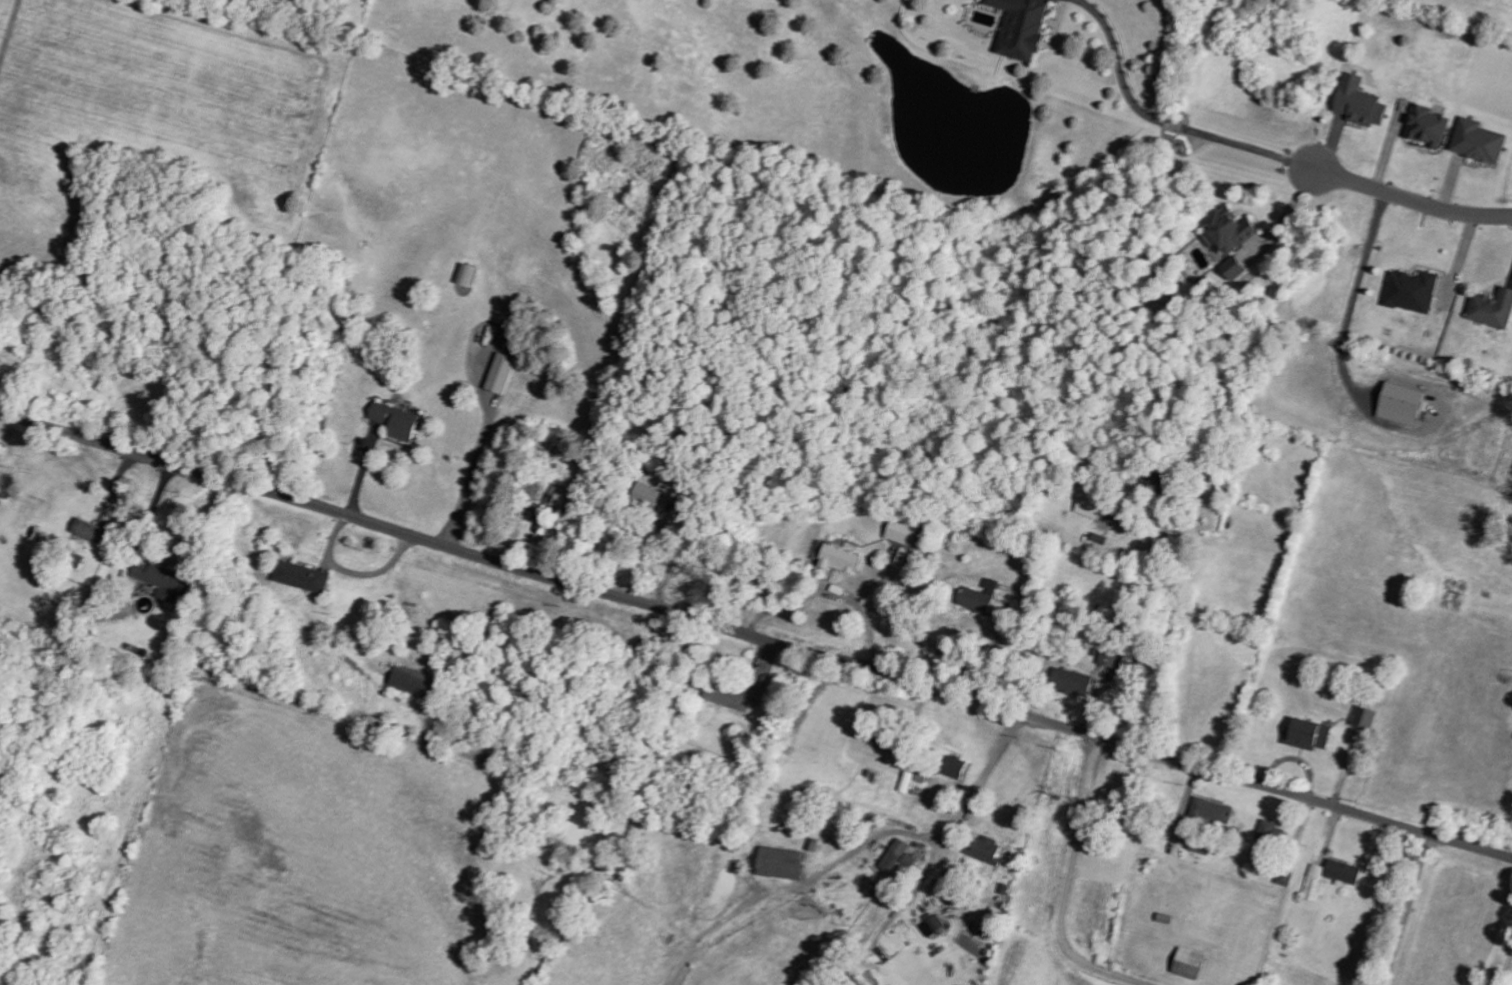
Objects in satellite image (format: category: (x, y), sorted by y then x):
building: (1020, 27)
building: (1358, 103)
road: (1169, 119)
building: (1426, 126)
building: (1477, 142)
road: (1411, 200)
building: (1227, 231)
building: (1233, 270)
building: (466, 274)
building: (1411, 292)
building: (1492, 309)
building: (500, 373)
building: (1399, 404)
building: (395, 421)
building: (531, 489)
building: (649, 495)
building: (1090, 505)
building: (87, 530)
building: (903, 532)
building: (838, 558)
building: (74, 560)
building: (301, 576)
building: (161, 580)
building: (979, 597)
road: (755, 636)
building: (1108, 658)
building: (410, 680)
building: (1071, 682)
building: (729, 697)
building: (1364, 719)
building: (1308, 734)
building: (954, 767)
building: (911, 778)
building: (1212, 811)
road: (997, 814)
building: (1272, 833)
building: (984, 849)
building: (898, 857)
building: (779, 863)
building: (1288, 871)
building: (1330, 877)
building: (935, 928)
building: (1187, 963)

